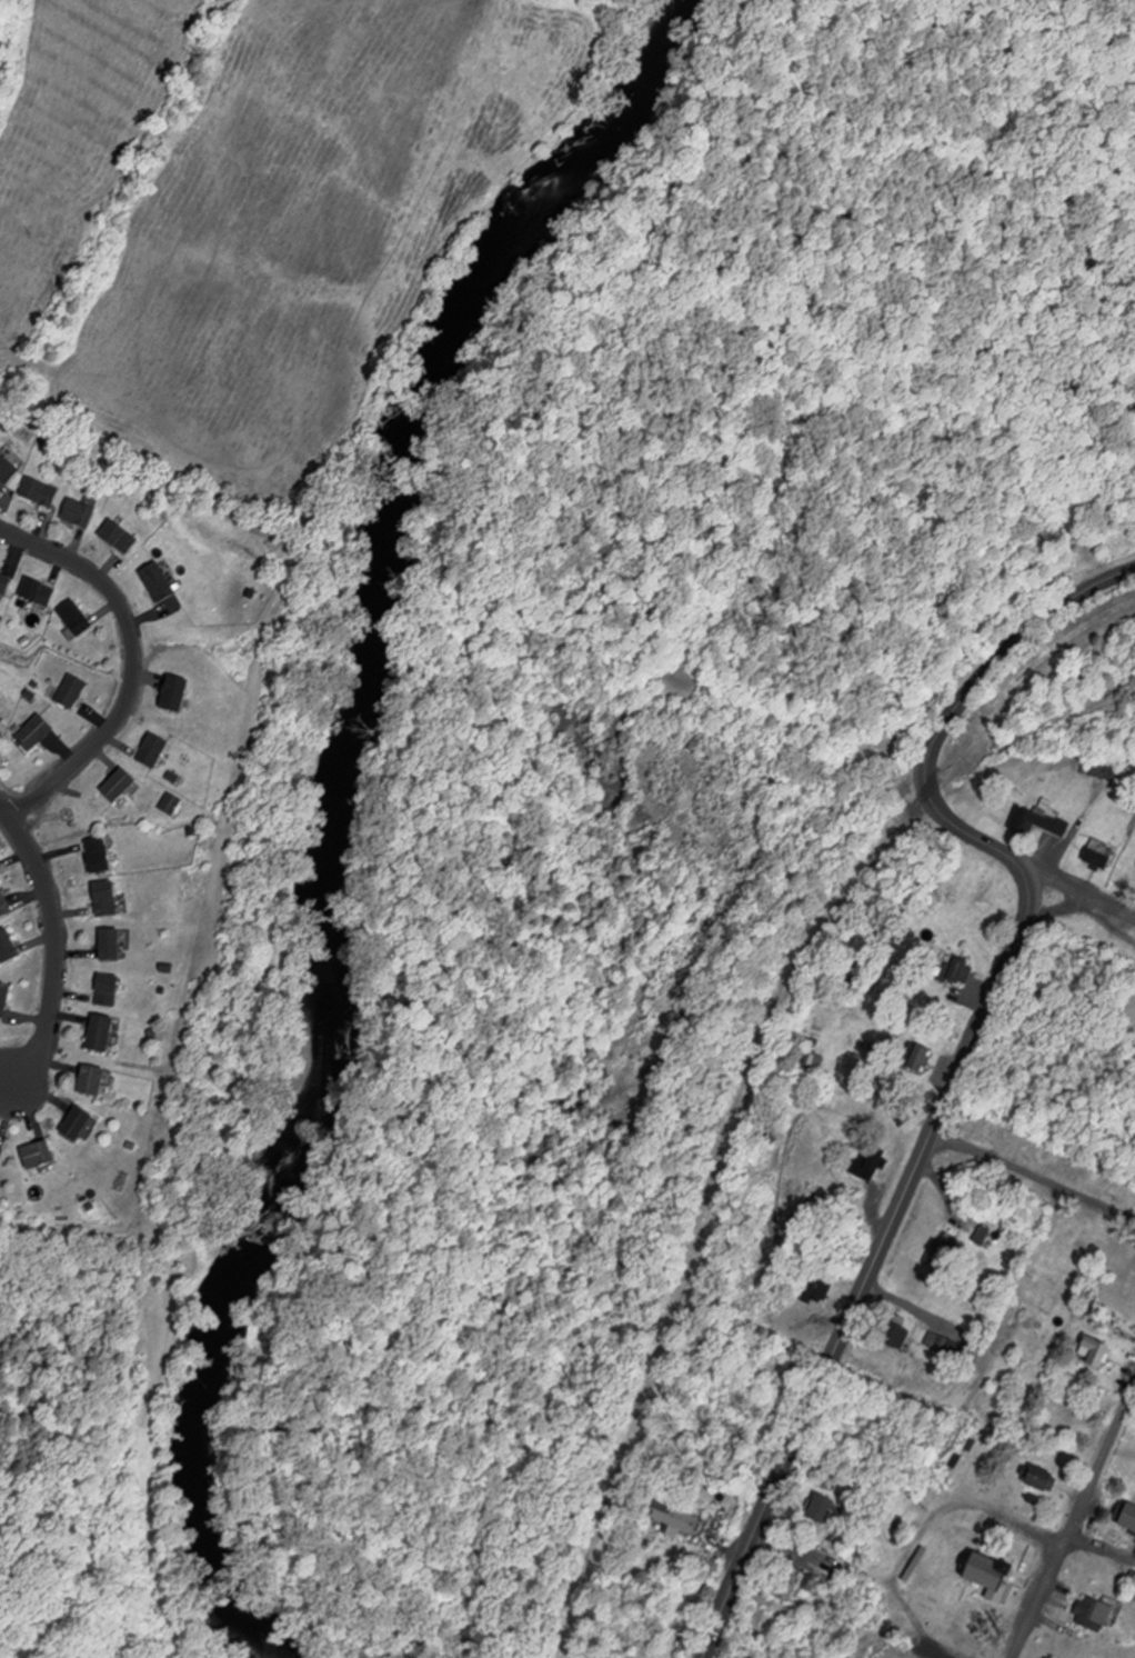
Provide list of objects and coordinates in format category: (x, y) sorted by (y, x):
building: (8, 467)
building: (41, 491)
building: (81, 513)
building: (120, 537)
building: (160, 582)
building: (6, 583)
building: (39, 592)
building: (251, 593)
building: (78, 618)
road: (131, 665)
building: (72, 691)
building: (175, 695)
quarry: (1125, 701)
building: (1, 721)
building: (33, 733)
building: (153, 750)
building: (1106, 769)
building: (173, 776)
building: (119, 785)
river: (341, 801)
building: (171, 803)
building: (1042, 818)
building: (1101, 853)
building: (100, 855)
road: (1066, 881)
building: (107, 898)
building: (4, 906)
road: (1067, 907)
building: (112, 943)
road: (57, 946)
building: (8, 947)
building: (960, 970)
building: (108, 989)
building: (4, 999)
building: (101, 1032)
building: (918, 1057)
road: (965, 1058)
building: (92, 1080)
building: (78, 1123)
building: (1, 1152)
building: (40, 1155)
building: (870, 1162)
road: (1034, 1176)
building: (1074, 1245)
building: (944, 1251)
building: (816, 1287)
building: (1072, 1289)
building: (898, 1335)
building: (947, 1346)
building: (1097, 1351)
building: (1043, 1479)
building: (822, 1510)
building: (1126, 1516)
building: (676, 1519)
road: (1075, 1522)
road: (1102, 1548)
road: (913, 1551)
building: (991, 1572)
building: (830, 1582)
building: (789, 1584)
building: (1095, 1615)
building: (975, 1618)

